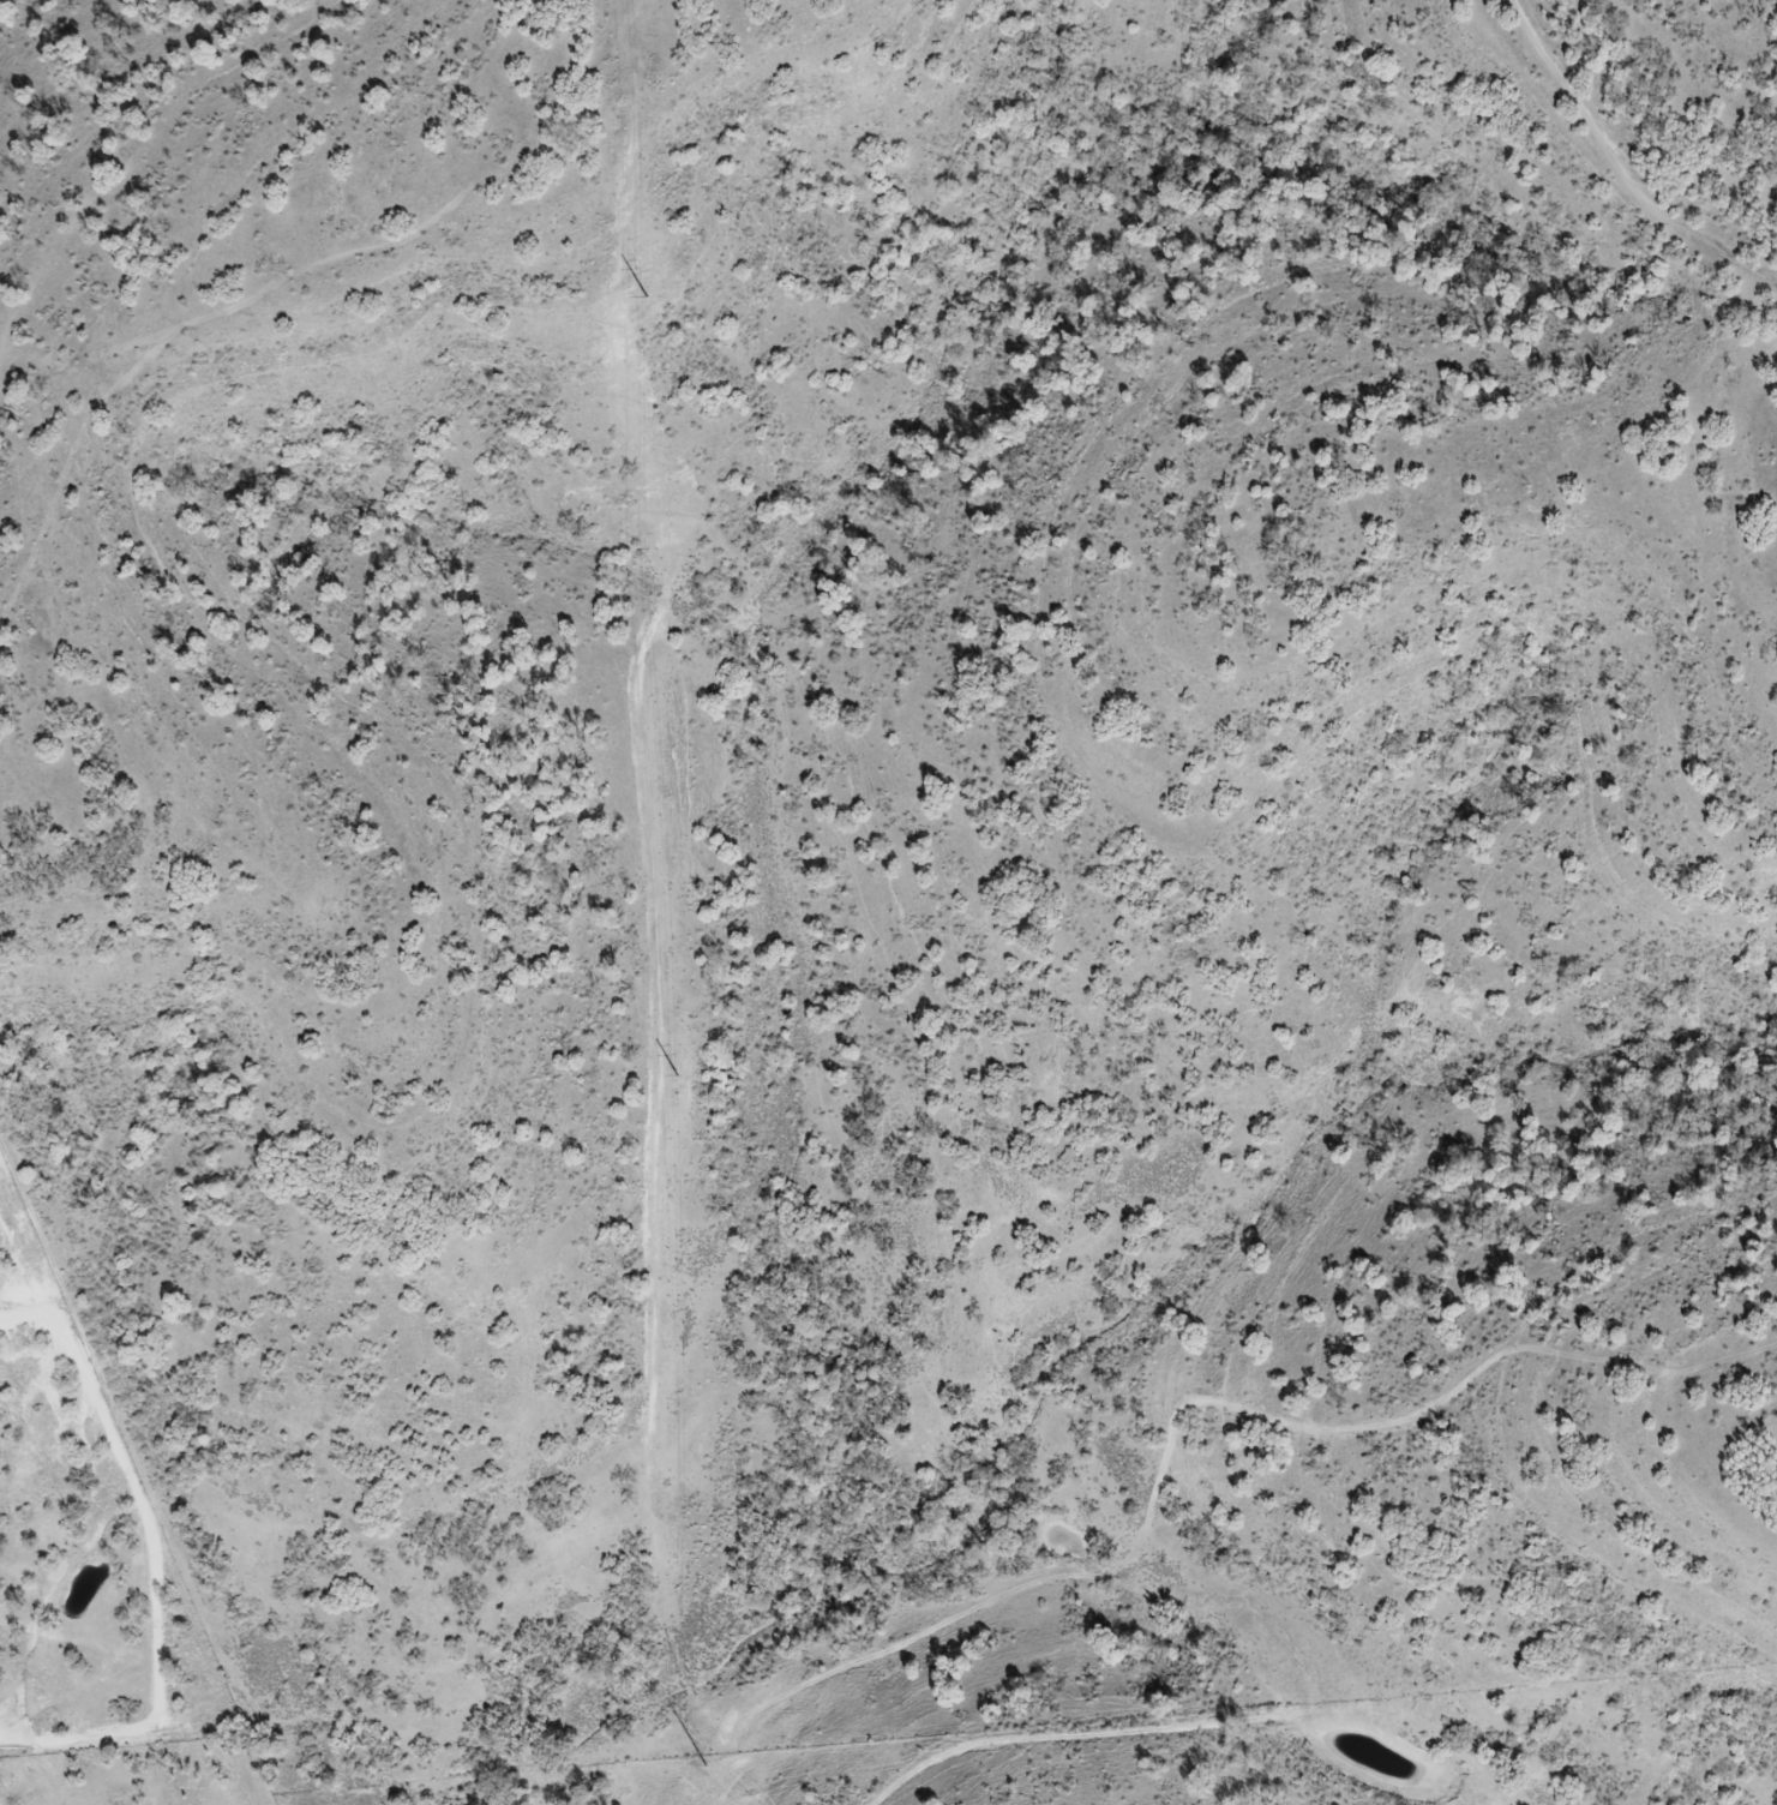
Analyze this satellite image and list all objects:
power tower: (653, 299)
power tower: (667, 1075)
power tower: (701, 1767)

